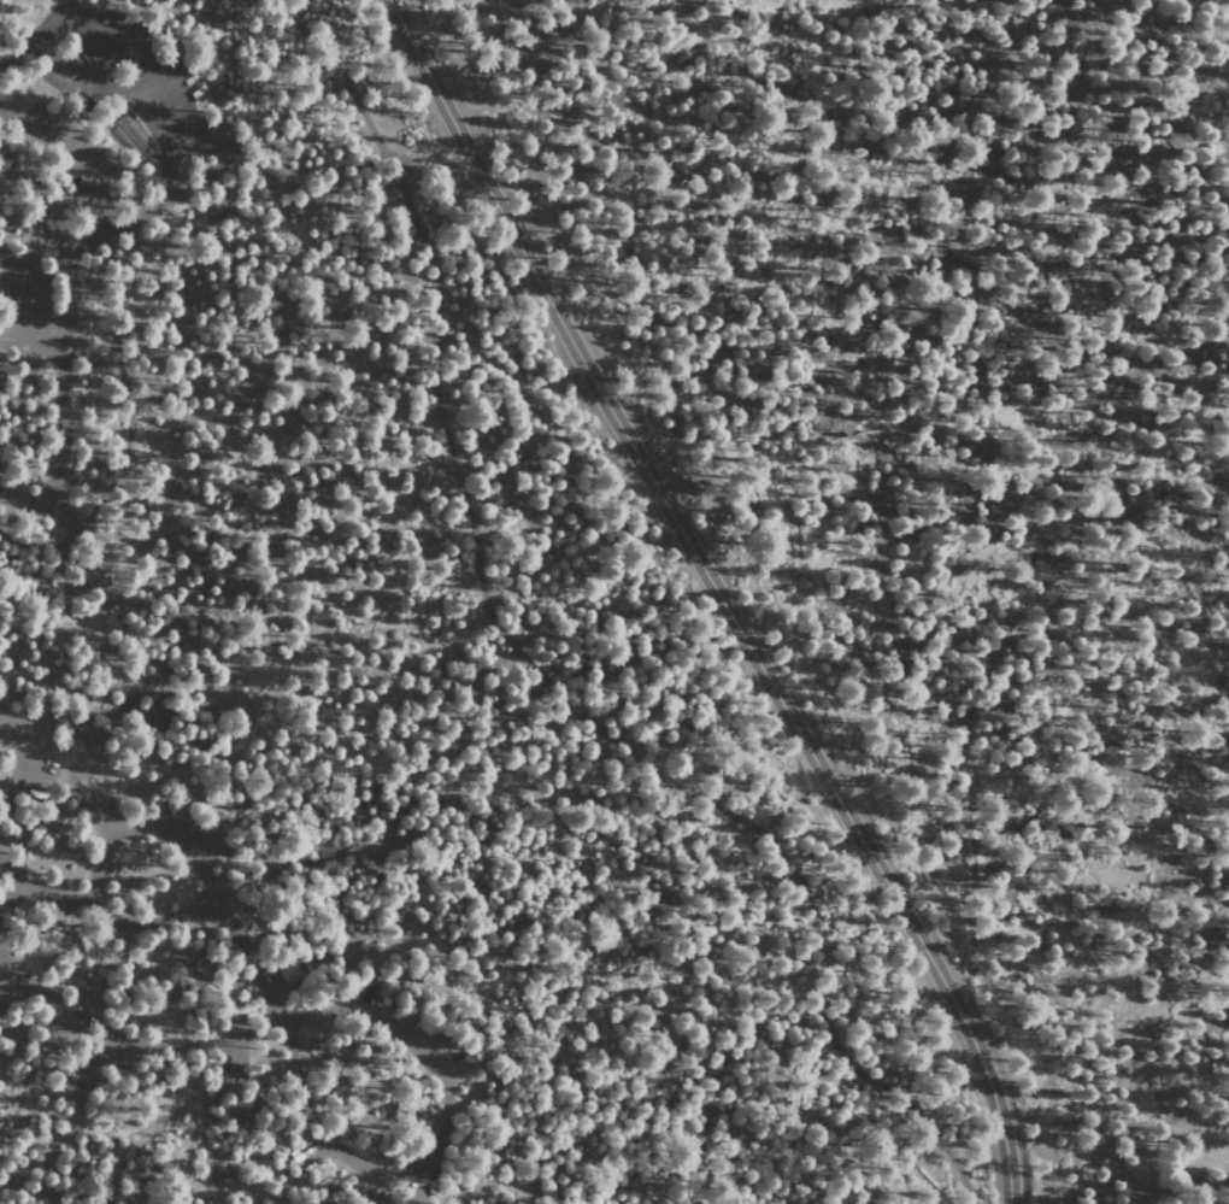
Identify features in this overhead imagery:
road: (1076, 92)
road: (149, 101)
road: (636, 112)
road: (67, 158)
road: (143, 259)
road: (60, 333)
road: (717, 595)
road: (533, 663)
road: (155, 692)
road: (440, 707)
road: (92, 805)
road: (98, 868)
road: (10, 895)
road: (167, 921)
building: (284, 974)
road: (134, 1044)
road: (434, 1143)
road: (95, 1152)

